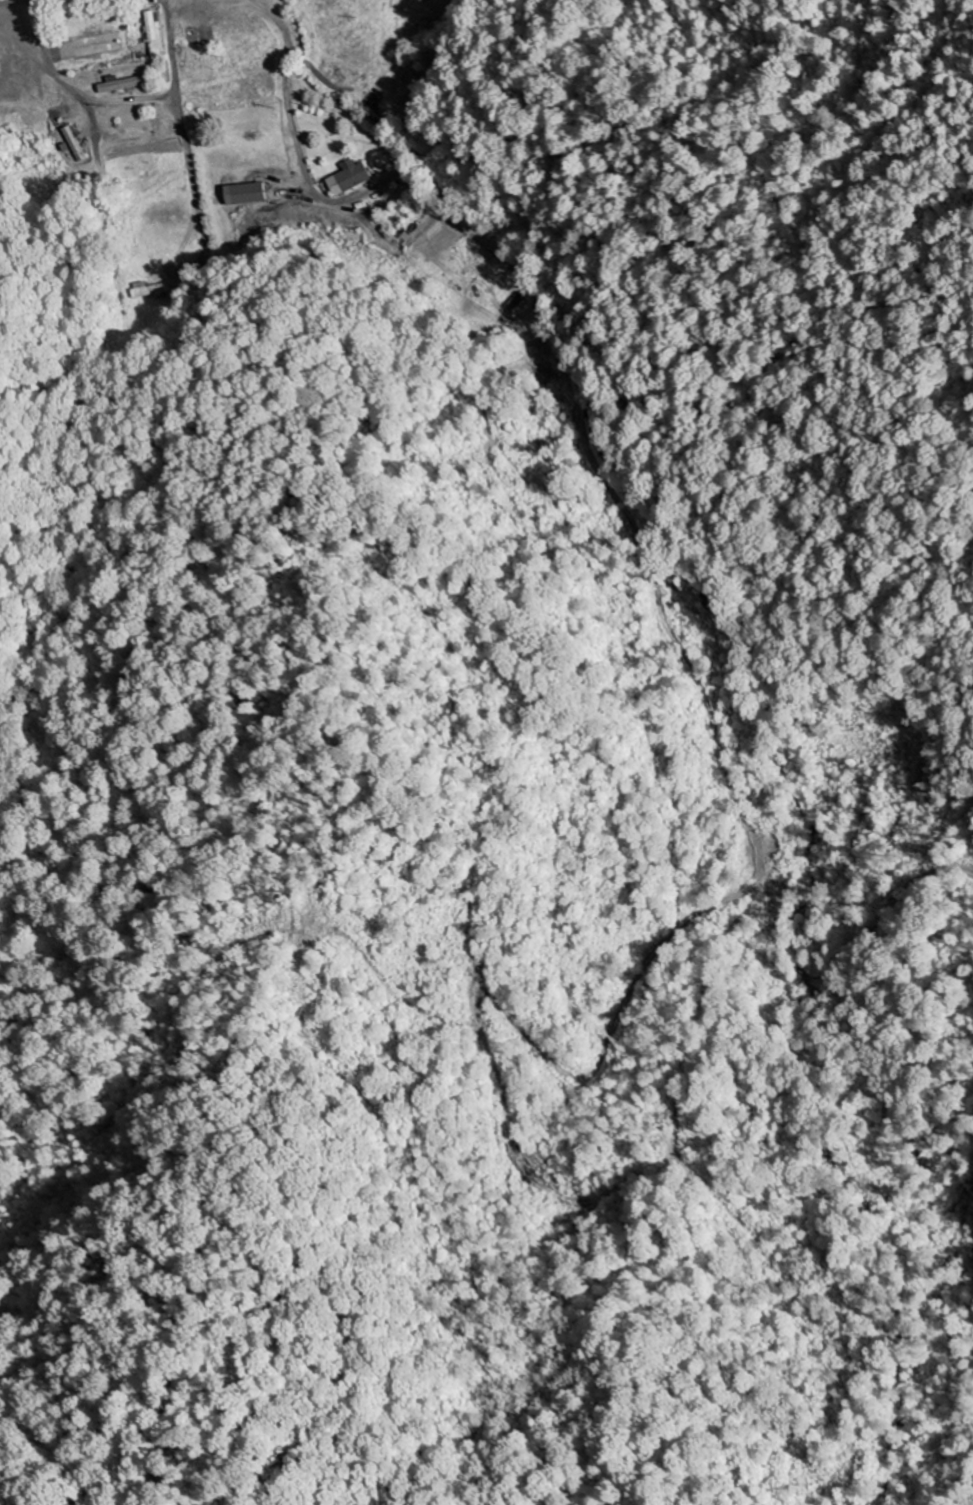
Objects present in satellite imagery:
road: (5, 0)
building: (150, 26)
road: (285, 44)
road: (49, 71)
building: (121, 85)
building: (73, 144)
building: (347, 178)
building: (244, 194)
building: (147, 293)

